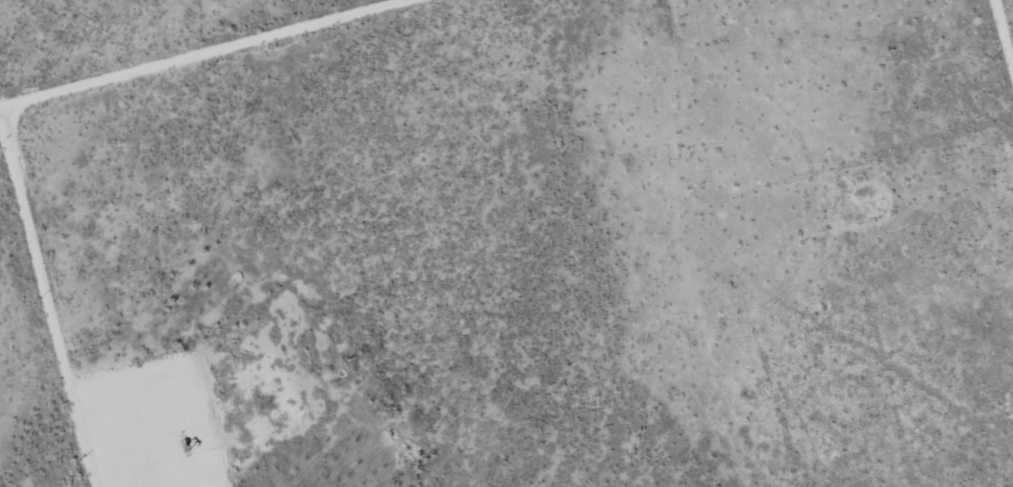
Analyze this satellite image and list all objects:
road: (1000, 45)
road: (197, 52)

